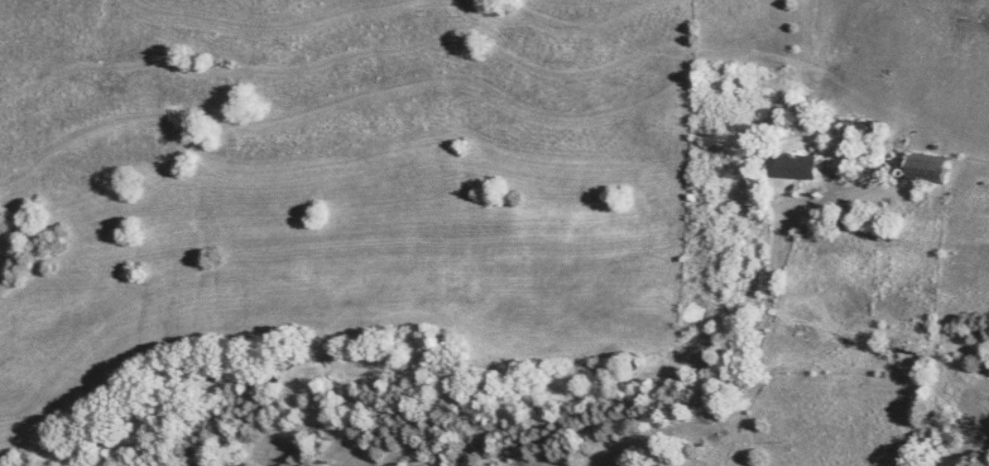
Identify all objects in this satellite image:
building: (794, 165)
road: (686, 397)

